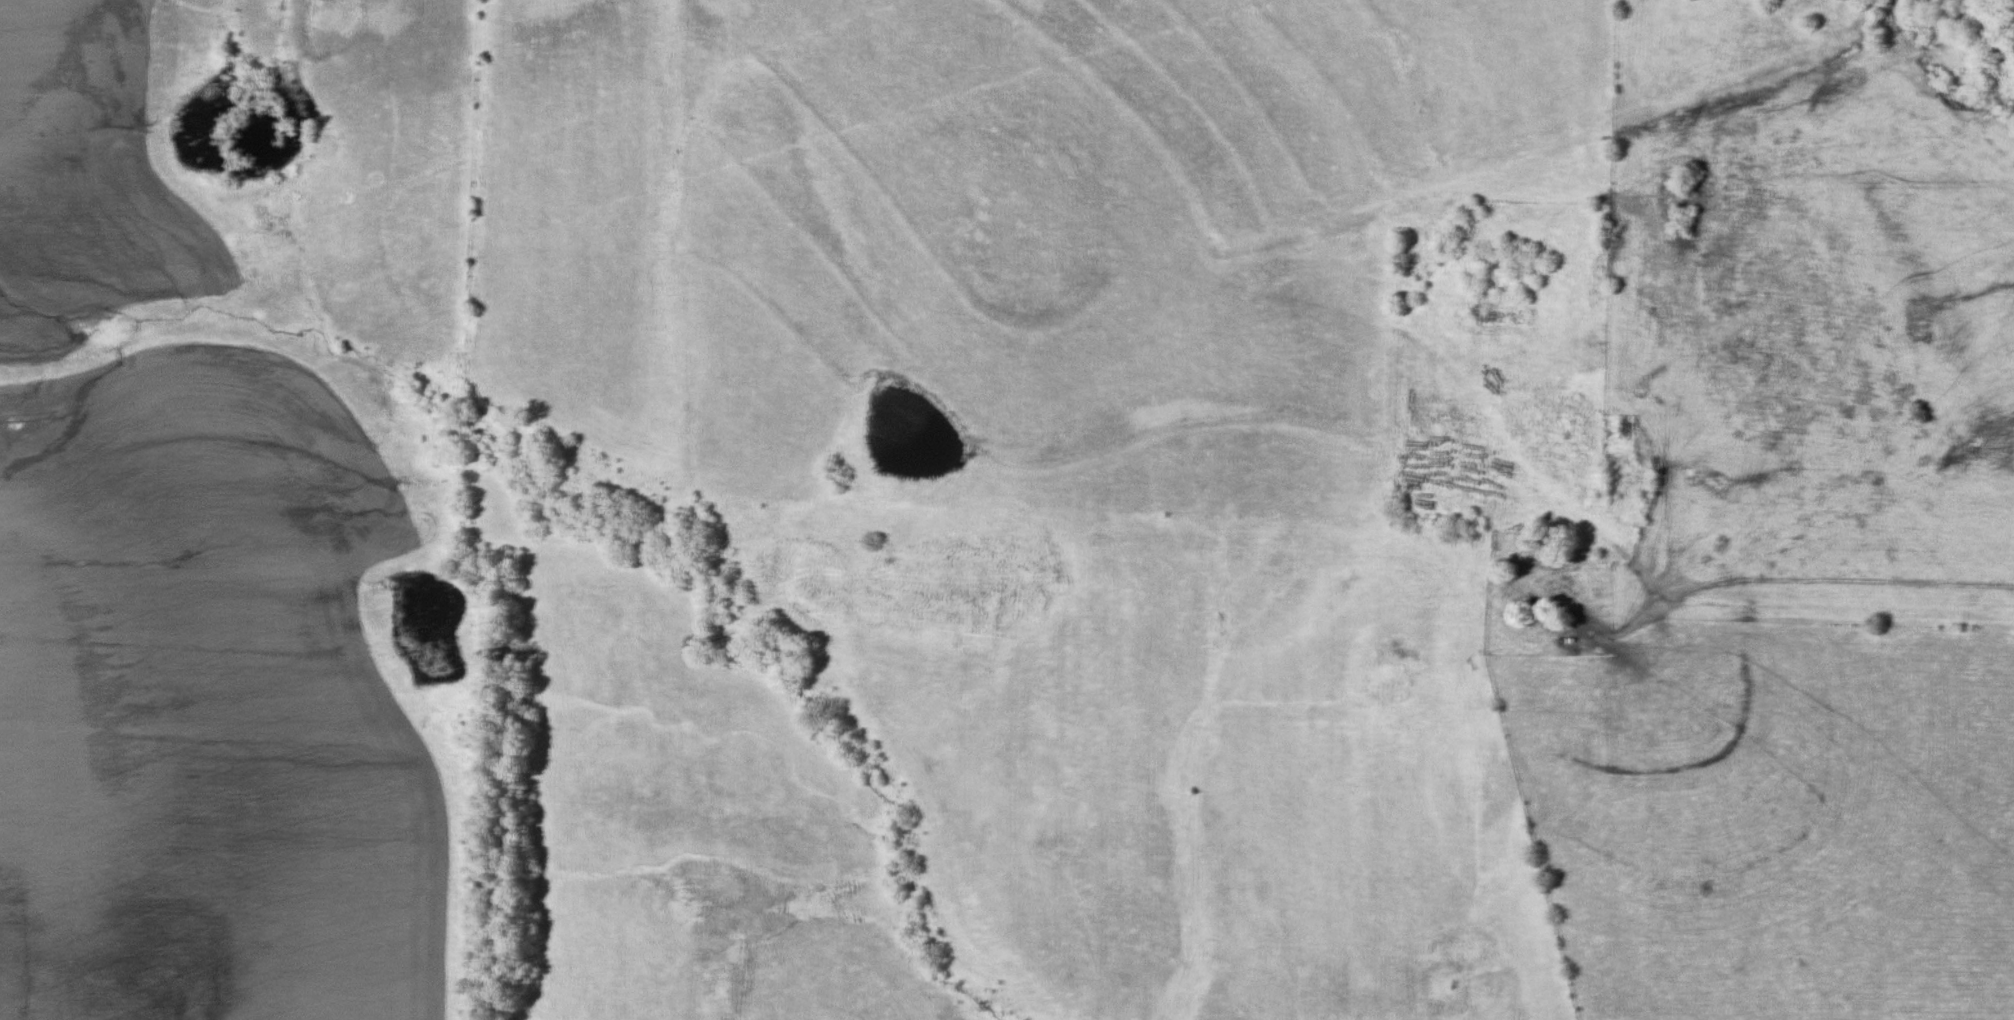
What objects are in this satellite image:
crop: (87, 179)
building: (1533, 573)
road: (1764, 613)
crop: (213, 707)

